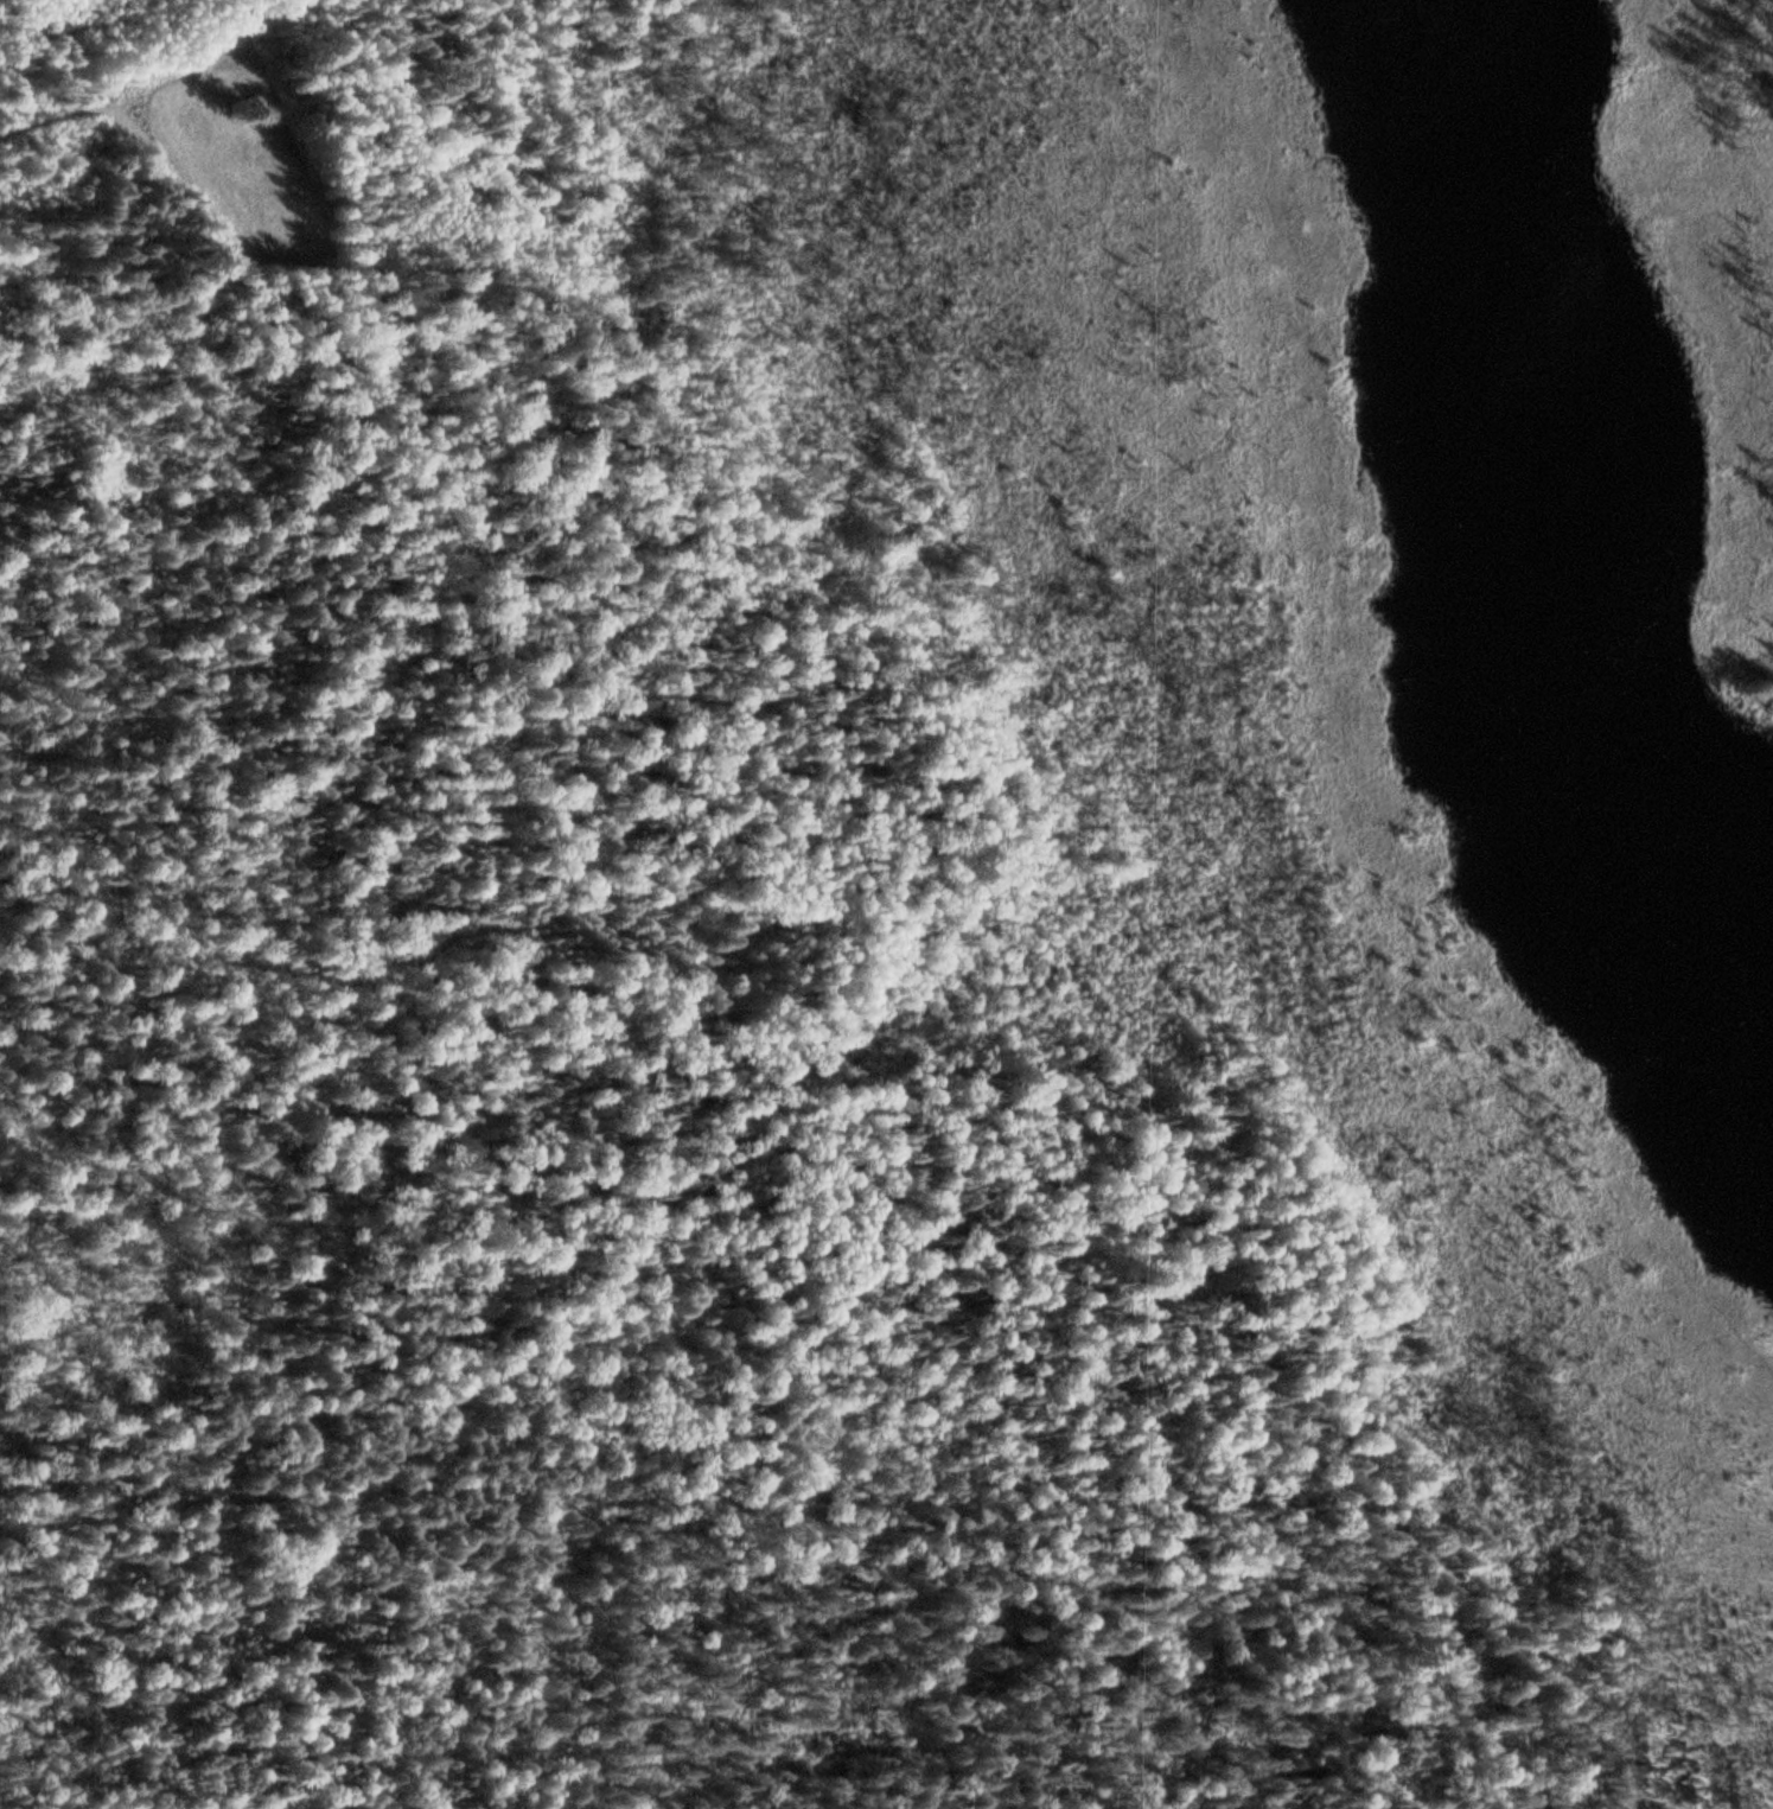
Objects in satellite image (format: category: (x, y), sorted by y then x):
road: (372, 945)
road: (1390, 1572)

